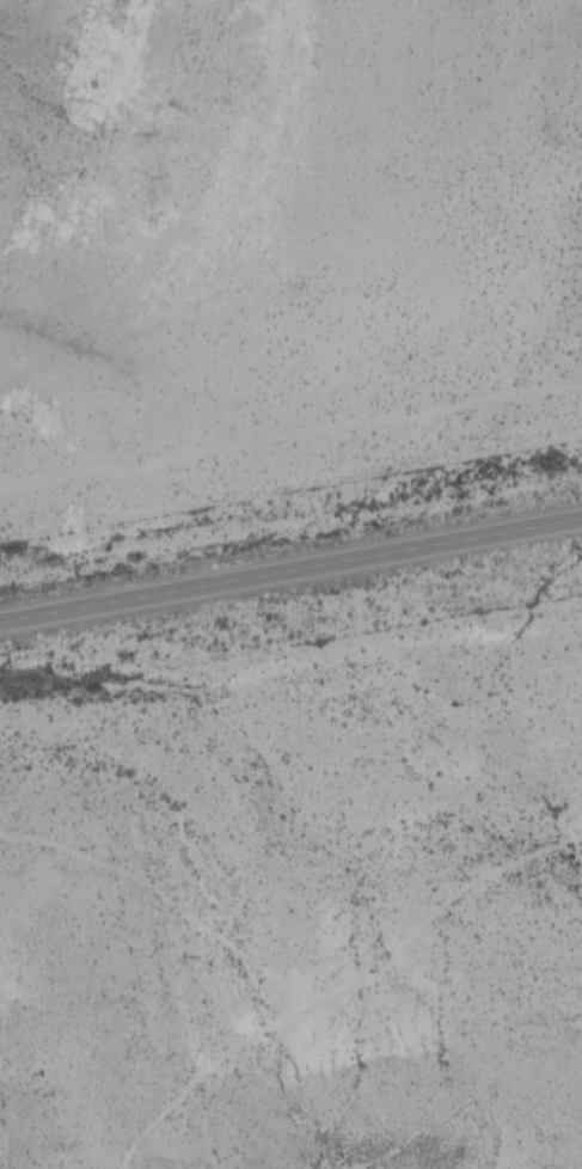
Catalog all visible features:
road: (290, 568)

